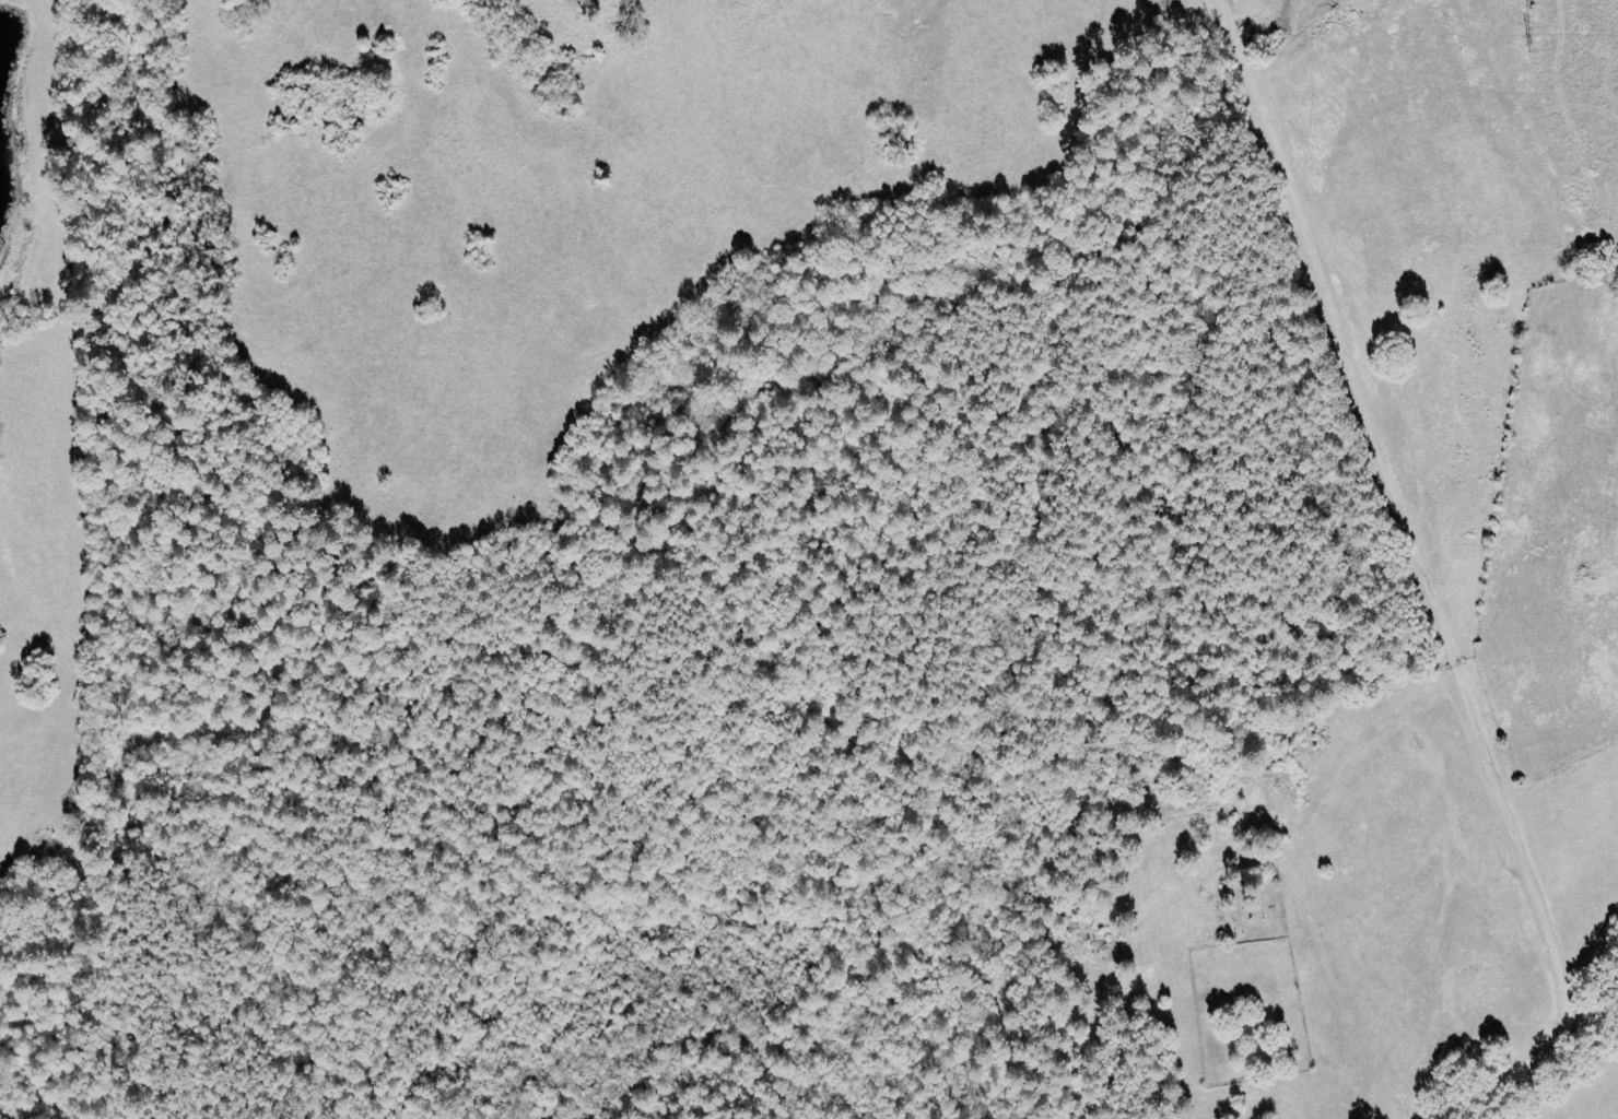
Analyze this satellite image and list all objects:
power tower: (1528, 46)
road: (1338, 348)
road: (1541, 927)
park: (1250, 983)
road: (1579, 1027)

